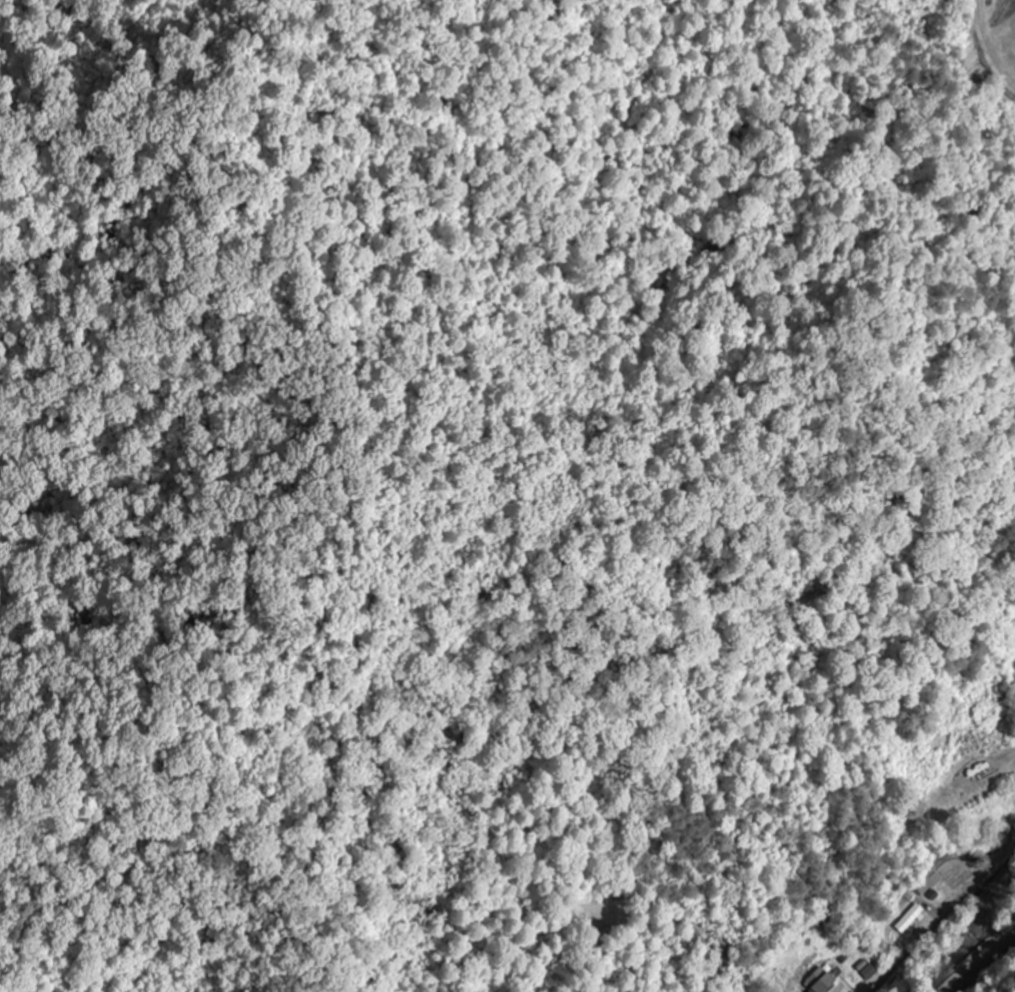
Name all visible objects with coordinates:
road: (1004, 95)
building: (980, 777)
building: (945, 875)
road: (972, 887)
building: (817, 917)
road: (899, 959)
road: (983, 962)
building: (821, 981)

